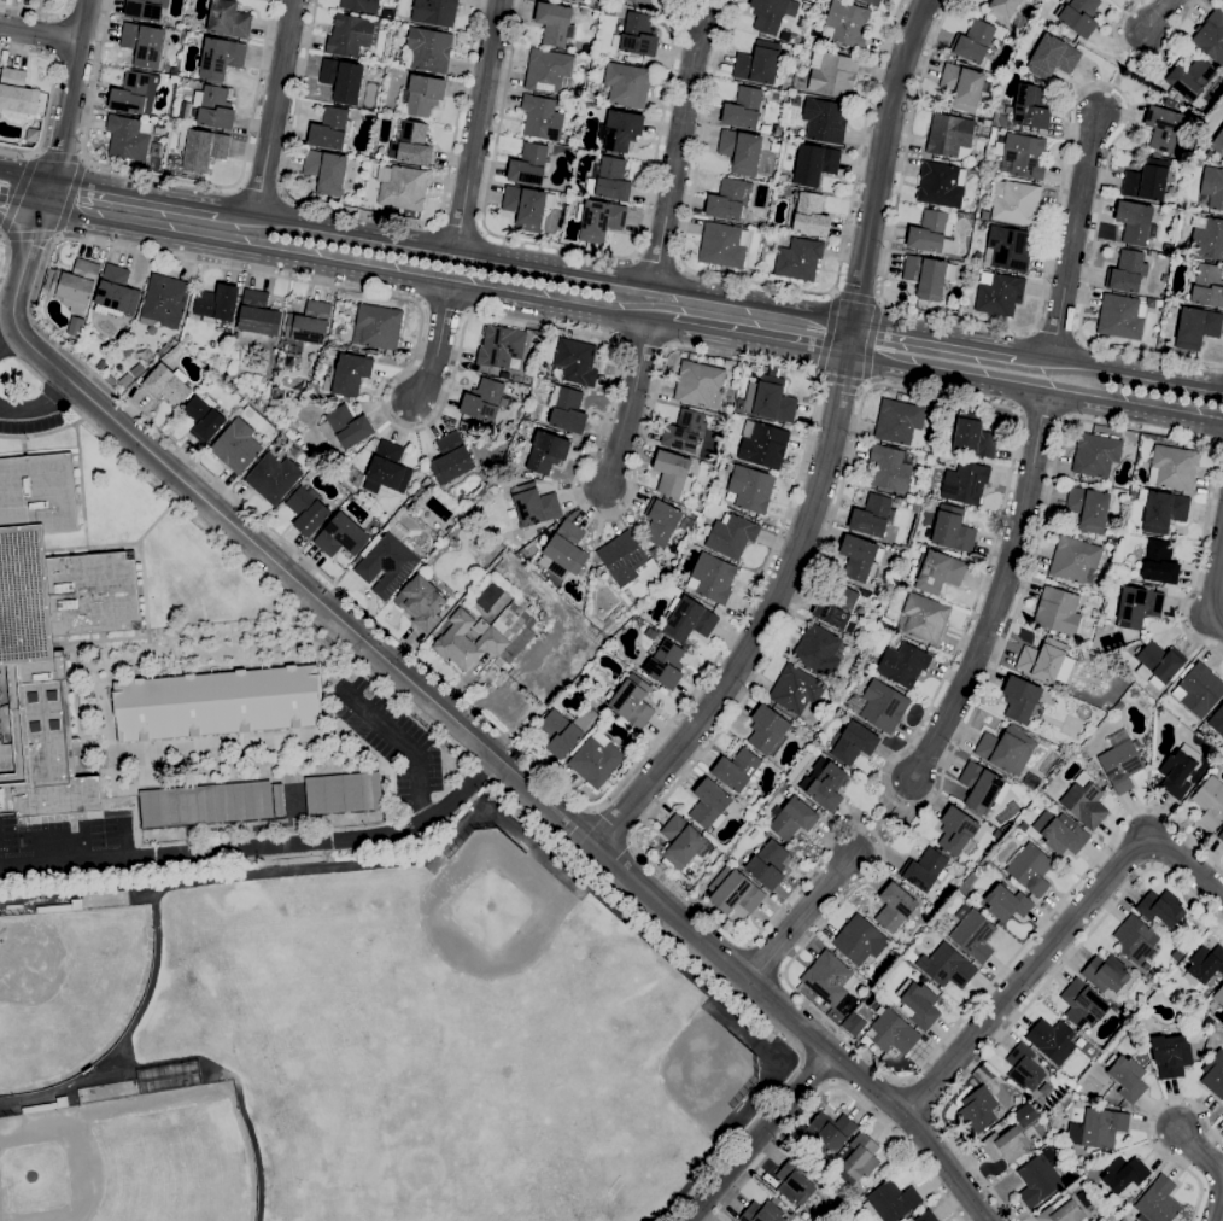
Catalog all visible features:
building: (578, 0)
building: (640, 2)
building: (872, 2)
building: (1222, 2)
building: (361, 5)
building: (146, 8)
road: (37, 10)
building: (1001, 10)
building: (435, 11)
building: (768, 14)
building: (1078, 16)
road: (1158, 17)
building: (229, 19)
building: (555, 23)
building: (847, 24)
road: (41, 30)
building: (350, 35)
building: (637, 35)
building: (1211, 37)
building: (973, 41)
building: (144, 43)
building: (429, 48)
building: (1052, 57)
building: (221, 58)
road: (1142, 60)
building: (757, 63)
building: (549, 70)
road: (1120, 72)
building: (832, 74)
building: (1192, 77)
building: (343, 80)
building: (627, 84)
building: (962, 86)
building: (135, 93)
building: (17, 94)
building: (423, 94)
building: (1170, 94)
road: (53, 100)
building: (796, 100)
road: (69, 105)
road: (273, 105)
building: (213, 106)
building: (1031, 107)
building: (743, 109)
building: (542, 117)
building: (825, 119)
building: (987, 122)
road: (478, 123)
building: (777, 128)
building: (1163, 128)
building: (329, 129)
building: (620, 129)
building: (31, 134)
building: (950, 136)
building: (128, 138)
building: (1217, 142)
building: (411, 145)
building: (201, 147)
building: (741, 151)
building: (1209, 153)
road: (679, 154)
building: (1022, 156)
road: (62, 158)
building: (1175, 163)
building: (529, 164)
building: (814, 164)
building: (326, 170)
road: (25, 175)
road: (175, 177)
building: (613, 180)
building: (1148, 181)
building: (941, 183)
building: (402, 186)
building: (1211, 188)
road: (18, 189)
road: (259, 189)
road: (136, 193)
road: (69, 195)
building: (728, 199)
building: (1016, 201)
road: (19, 205)
building: (527, 206)
road: (373, 212)
building: (811, 215)
building: (985, 215)
building: (599, 220)
road: (1054, 220)
building: (1136, 222)
building: (929, 232)
road: (1073, 234)
building: (1207, 236)
road: (30, 238)
building: (724, 245)
road: (573, 247)
building: (1008, 247)
building: (1178, 250)
road: (6, 258)
building: (798, 259)
road: (537, 262)
road: (346, 264)
building: (1127, 271)
building: (929, 275)
building: (1164, 277)
building: (74, 284)
road: (770, 284)
building: (1209, 286)
building: (116, 292)
building: (999, 293)
road: (858, 294)
building: (165, 299)
building: (216, 303)
building: (258, 314)
building: (1119, 317)
building: (310, 322)
building: (379, 325)
road: (661, 326)
building: (1196, 327)
road: (7, 329)
road: (826, 333)
road: (936, 335)
road: (870, 341)
road: (757, 343)
building: (75, 344)
road: (438, 344)
building: (501, 346)
building: (289, 360)
building: (577, 361)
road: (28, 369)
road: (798, 369)
road: (1120, 369)
building: (772, 370)
building: (351, 373)
road: (842, 380)
building: (165, 384)
building: (701, 384)
road: (55, 392)
road: (1034, 395)
building: (484, 399)
building: (768, 399)
road: (40, 405)
road: (628, 407)
building: (976, 407)
building: (567, 410)
building: (204, 417)
building: (900, 422)
building: (344, 427)
building: (684, 431)
road: (43, 433)
building: (972, 436)
building: (763, 443)
building: (236, 445)
road: (1218, 445)
road: (826, 449)
building: (548, 452)
building: (1095, 455)
building: (451, 458)
building: (1172, 467)
building: (387, 468)
building: (891, 468)
building: (672, 473)
building: (273, 478)
building: (965, 483)
building: (751, 487)
building: (534, 504)
building: (1089, 508)
road: (835, 510)
building: (308, 512)
building: (1163, 512)
building: (872, 515)
building: (662, 522)
building: (953, 530)
building: (341, 534)
building: (731, 534)
building: (564, 551)
building: (859, 556)
building: (627, 559)
building: (1075, 559)
building: (388, 562)
building: (1160, 562)
building: (938, 571)
building: (712, 577)
road: (997, 595)
road: (1217, 596)
building: (421, 602)
building: (1137, 607)
building: (838, 608)
building: (1058, 610)
building: (925, 618)
building: (689, 620)
building: (49, 630)
building: (650, 633)
building: (596, 635)
building: (490, 636)
building: (818, 650)
building: (1043, 659)
building: (1159, 662)
building: (666, 664)
building: (903, 664)
building: (1064, 666)
building: (486, 687)
building: (1199, 688)
building: (796, 689)
building: (1020, 699)
building: (218, 701)
building: (633, 701)
building: (1119, 705)
building: (883, 706)
building: (1217, 720)
road: (463, 726)
road: (435, 729)
building: (767, 729)
building: (560, 732)
road: (406, 742)
building: (854, 742)
building: (1007, 749)
building: (596, 759)
building: (1094, 764)
building: (1122, 764)
building: (737, 769)
building: (1178, 771)
building: (827, 785)
building: (982, 787)
road: (466, 790)
building: (344, 791)
building: (279, 799)
building: (1086, 801)
building: (1209, 802)
building: (206, 804)
building: (710, 804)
road: (885, 817)
building: (792, 819)
road: (611, 825)
building: (956, 830)
building: (1061, 832)
building: (1221, 835)
road: (124, 839)
building: (681, 841)
road: (213, 847)
road: (58, 851)
building: (768, 864)
building: (954, 864)
building: (925, 869)
building: (1031, 869)
building: (735, 890)
building: (1007, 902)
building: (895, 906)
building: (1161, 907)
road: (803, 917)
building: (975, 935)
building: (1135, 937)
building: (860, 939)
road: (1060, 939)
building: (1204, 964)
building: (948, 965)
building: (1146, 966)
building: (1106, 972)
building: (829, 977)
stadium: (68, 988)
building: (1219, 994)
park: (63, 997)
park: (502, 999)
building: (919, 1003)
road: (1028, 1003)
building: (1084, 1004)
building: (1193, 1022)
building: (854, 1023)
building: (894, 1032)
building: (1053, 1040)
building: (1171, 1054)
road: (818, 1067)
building: (1025, 1067)
building: (1215, 1074)
building: (1127, 1076)
park: (627, 1082)
road: (918, 1098)
building: (1065, 1102)
building: (978, 1109)
building: (1222, 1115)
building: (1098, 1127)
road: (1147, 1128)
building: (826, 1133)
road: (761, 1137)
road: (903, 1144)
building: (1006, 1144)
road: (1199, 1149)
road: (772, 1150)
building: (861, 1156)
stadium: (130, 1158)
building: (1124, 1173)
park: (131, 1174)
building: (1038, 1179)
building: (795, 1181)
park: (475, 1197)
building: (1055, 1198)
building: (891, 1200)
building: (1159, 1200)
road: (1218, 1203)
building: (1090, 1208)
building: (763, 1211)
building: (1061, 1213)
building: (926, 1216)

